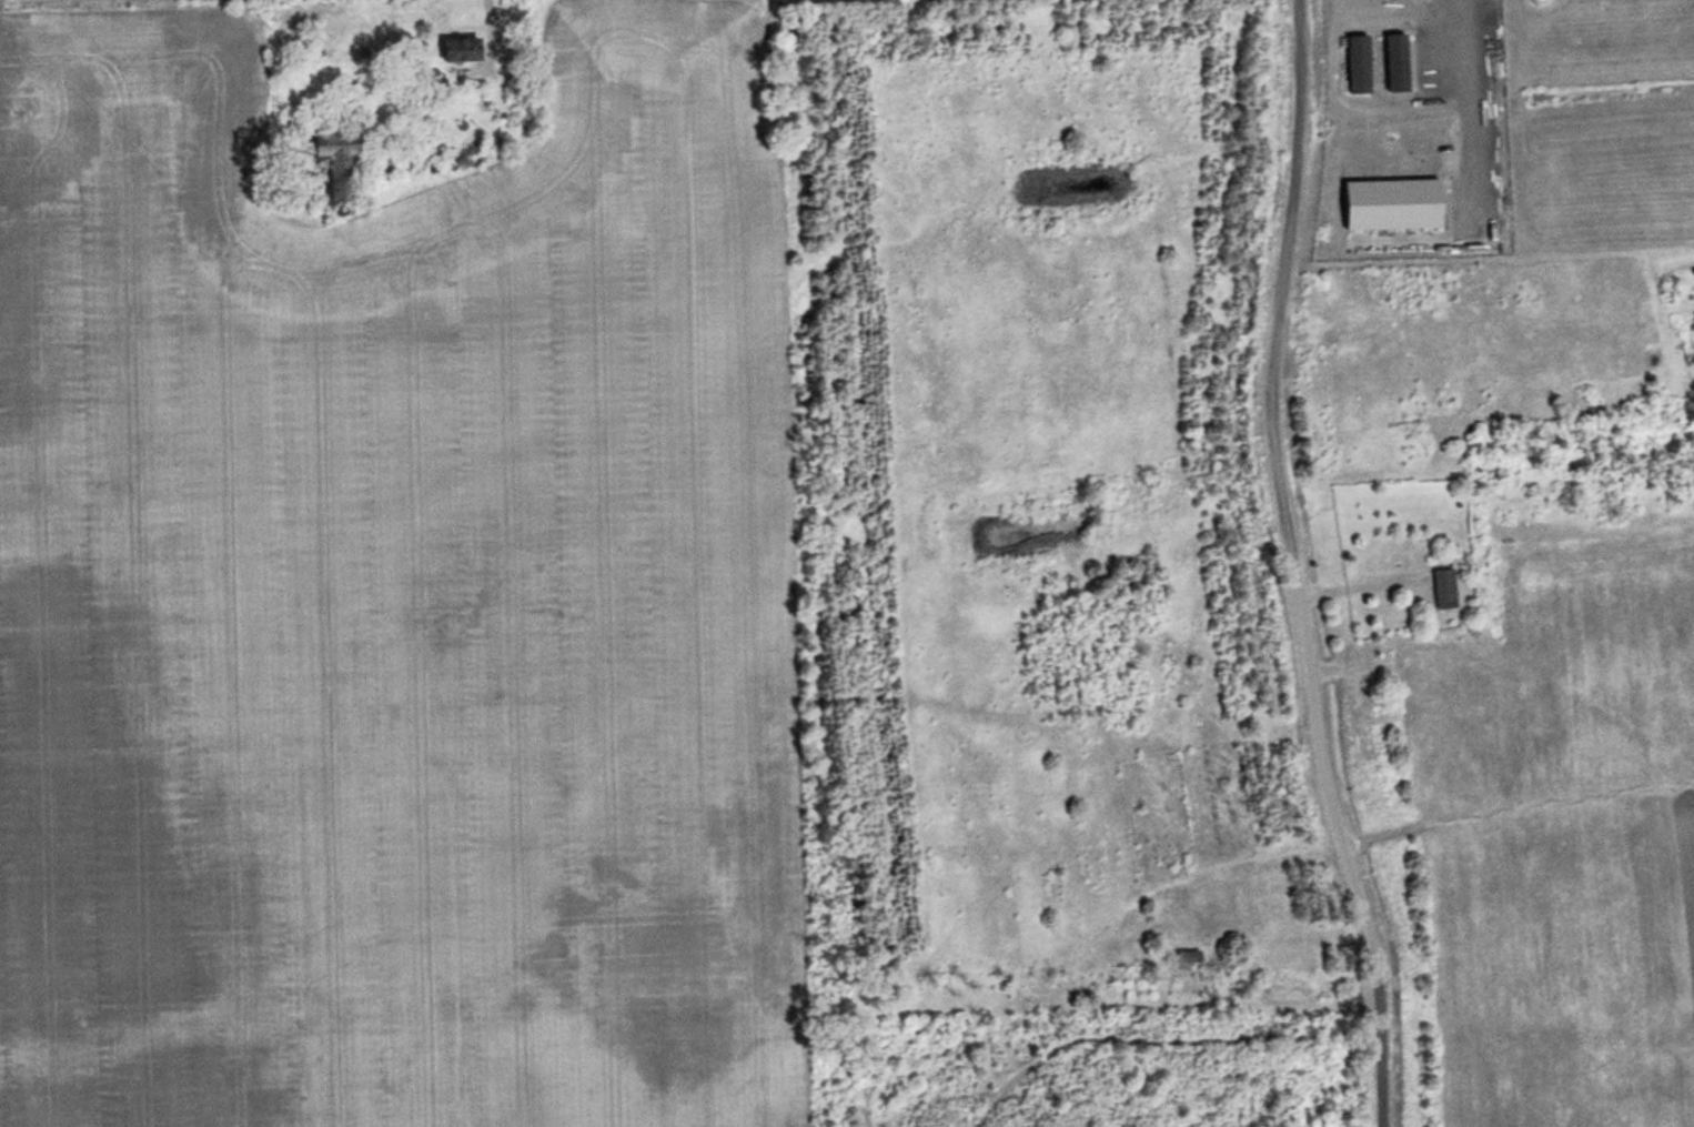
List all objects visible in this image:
building: (471, 49)
building: (1402, 63)
building: (1364, 64)
building: (349, 164)
road: (1283, 565)
building: (1453, 587)
building: (1196, 958)

